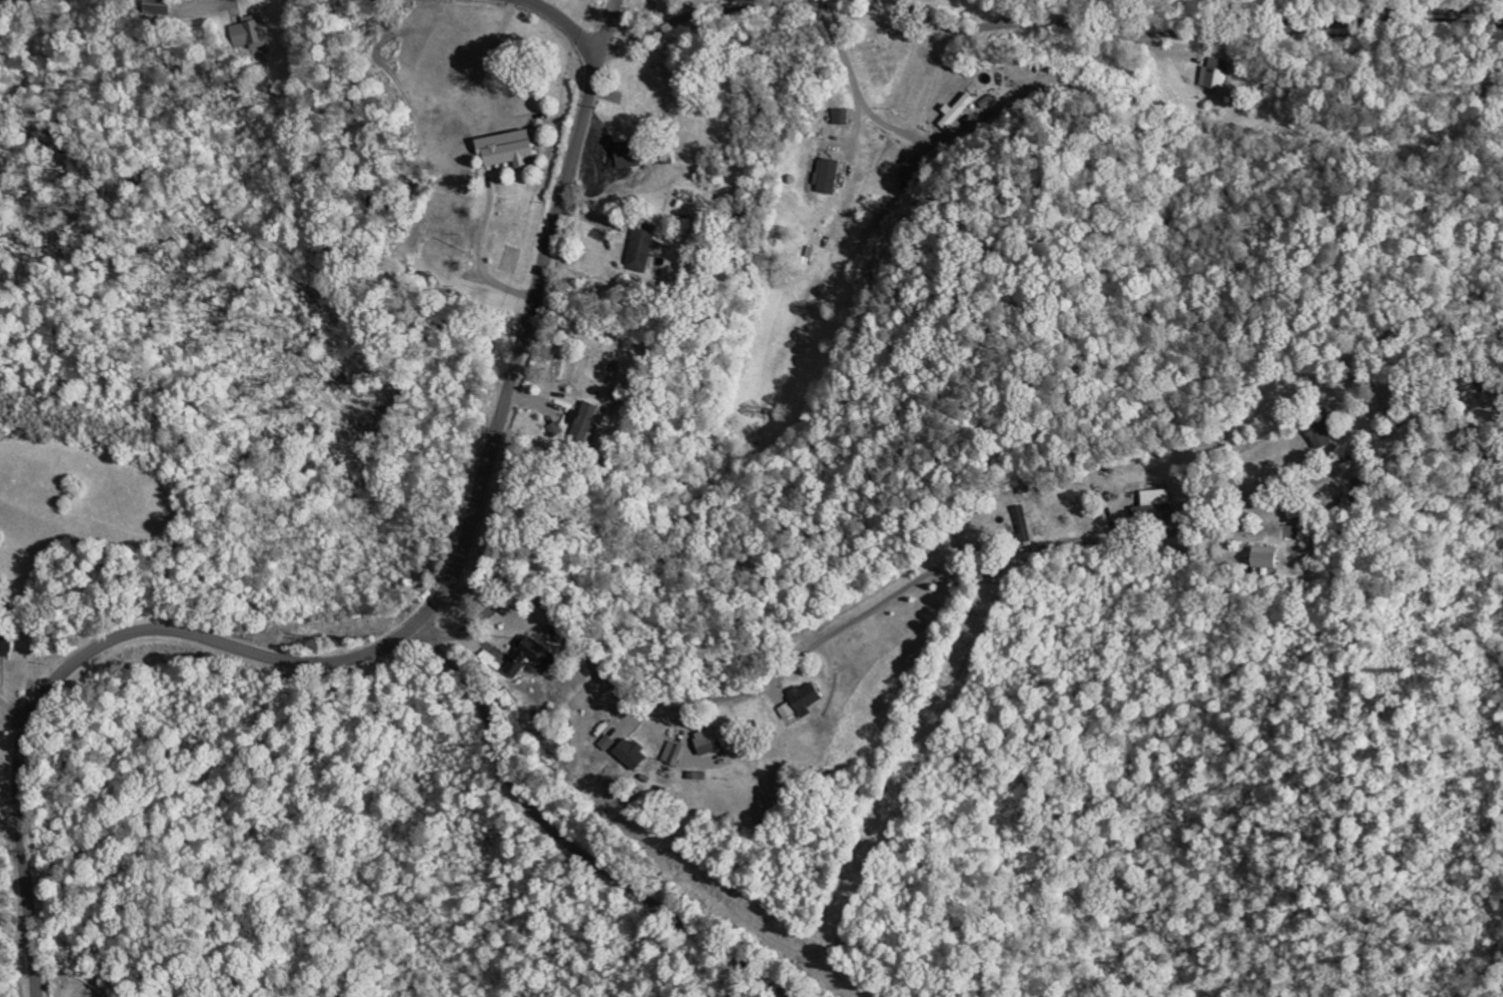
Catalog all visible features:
building: (158, 7)
road: (696, 15)
road: (560, 22)
building: (248, 34)
road: (1191, 34)
building: (1216, 75)
building: (957, 112)
building: (511, 151)
building: (628, 155)
building: (827, 177)
building: (642, 248)
road: (530, 311)
building: (585, 424)
building: (1323, 435)
building: (1155, 507)
building: (1025, 525)
building: (1265, 558)
road: (875, 608)
road: (463, 630)
building: (5, 646)
road: (83, 655)
building: (545, 658)
building: (805, 700)
building: (788, 712)
building: (708, 742)
building: (606, 744)
building: (672, 755)
building: (630, 756)
road: (566, 841)

